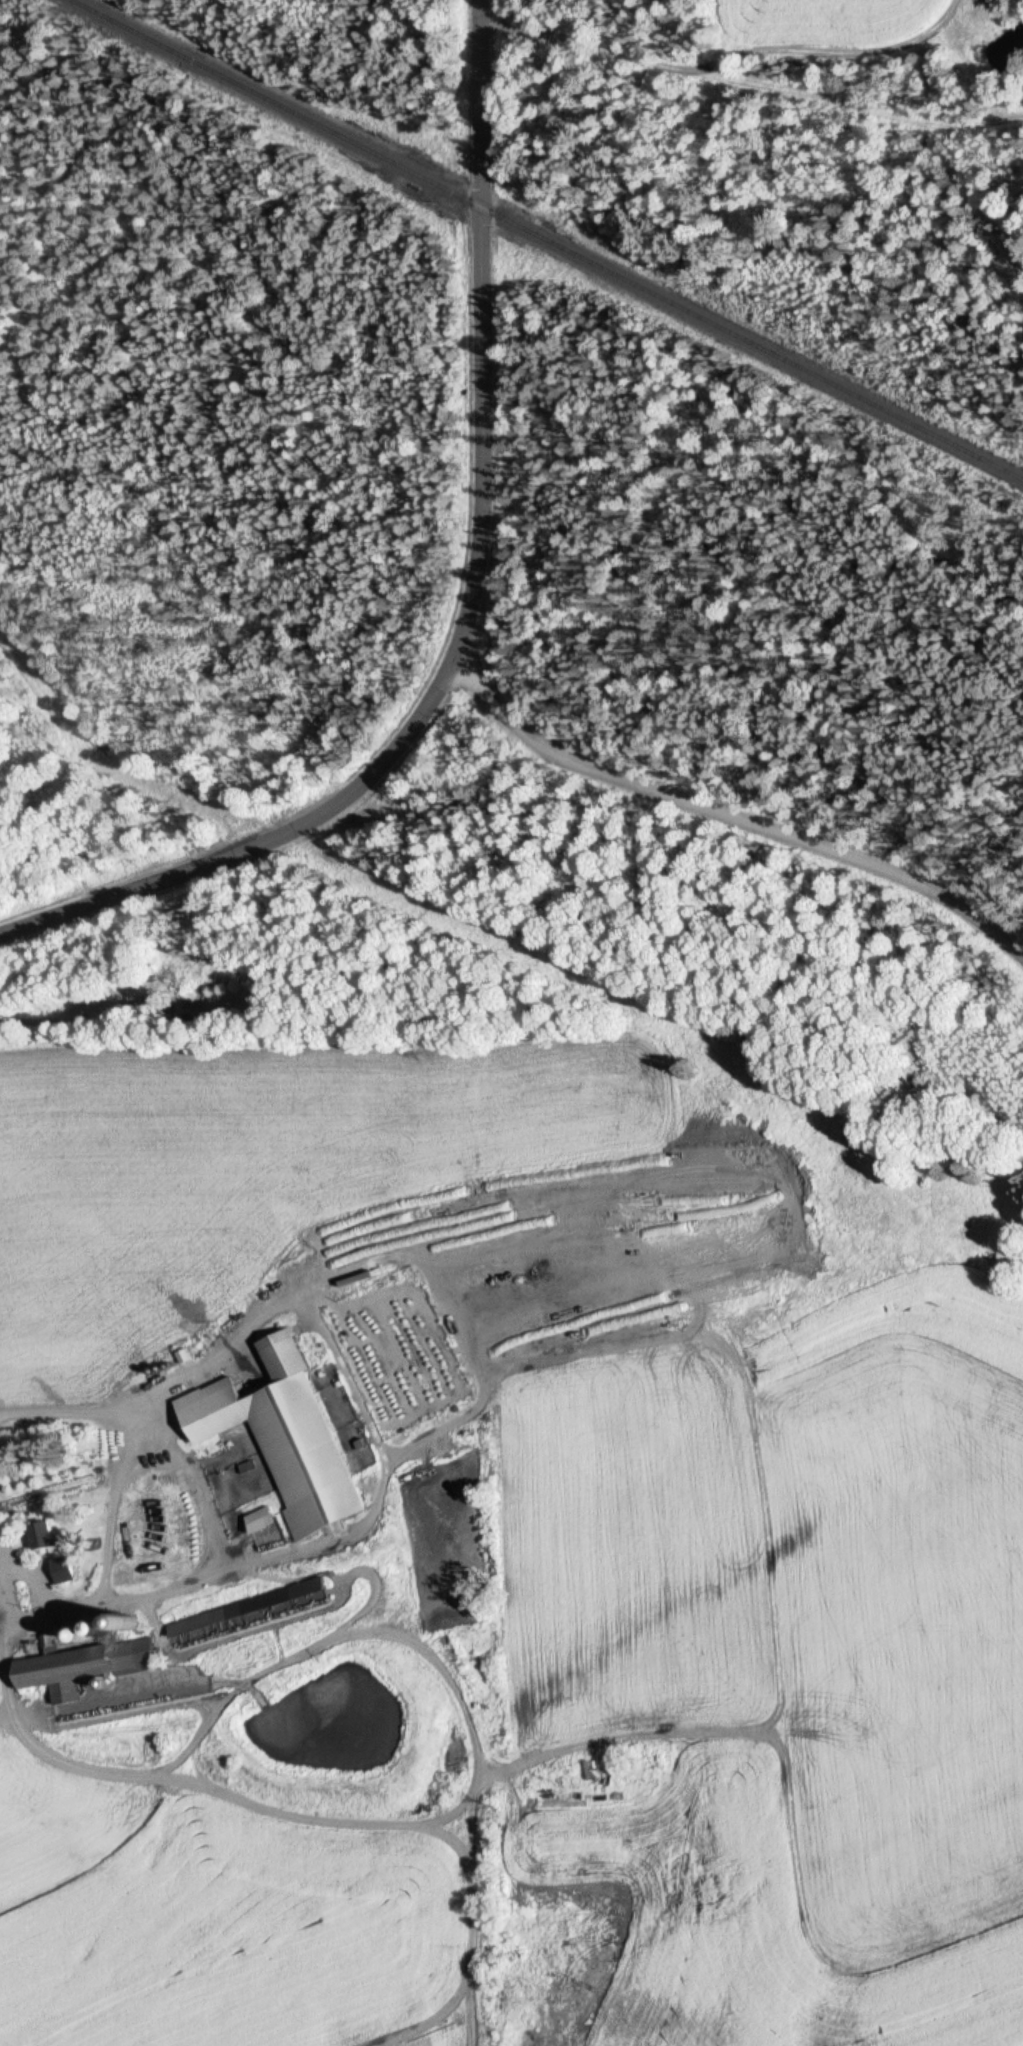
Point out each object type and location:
road: (478, 196)
railway: (537, 236)
road: (378, 777)
road: (729, 814)
road: (449, 1322)
building: (289, 1439)
road: (379, 1449)
road: (194, 1483)
road: (109, 1509)
building: (47, 1535)
road: (5, 1561)
building: (233, 1614)
road: (28, 1617)
road: (242, 1629)
building: (88, 1669)
road: (202, 1695)
road: (5, 1715)
road: (198, 1734)
road: (366, 1818)

